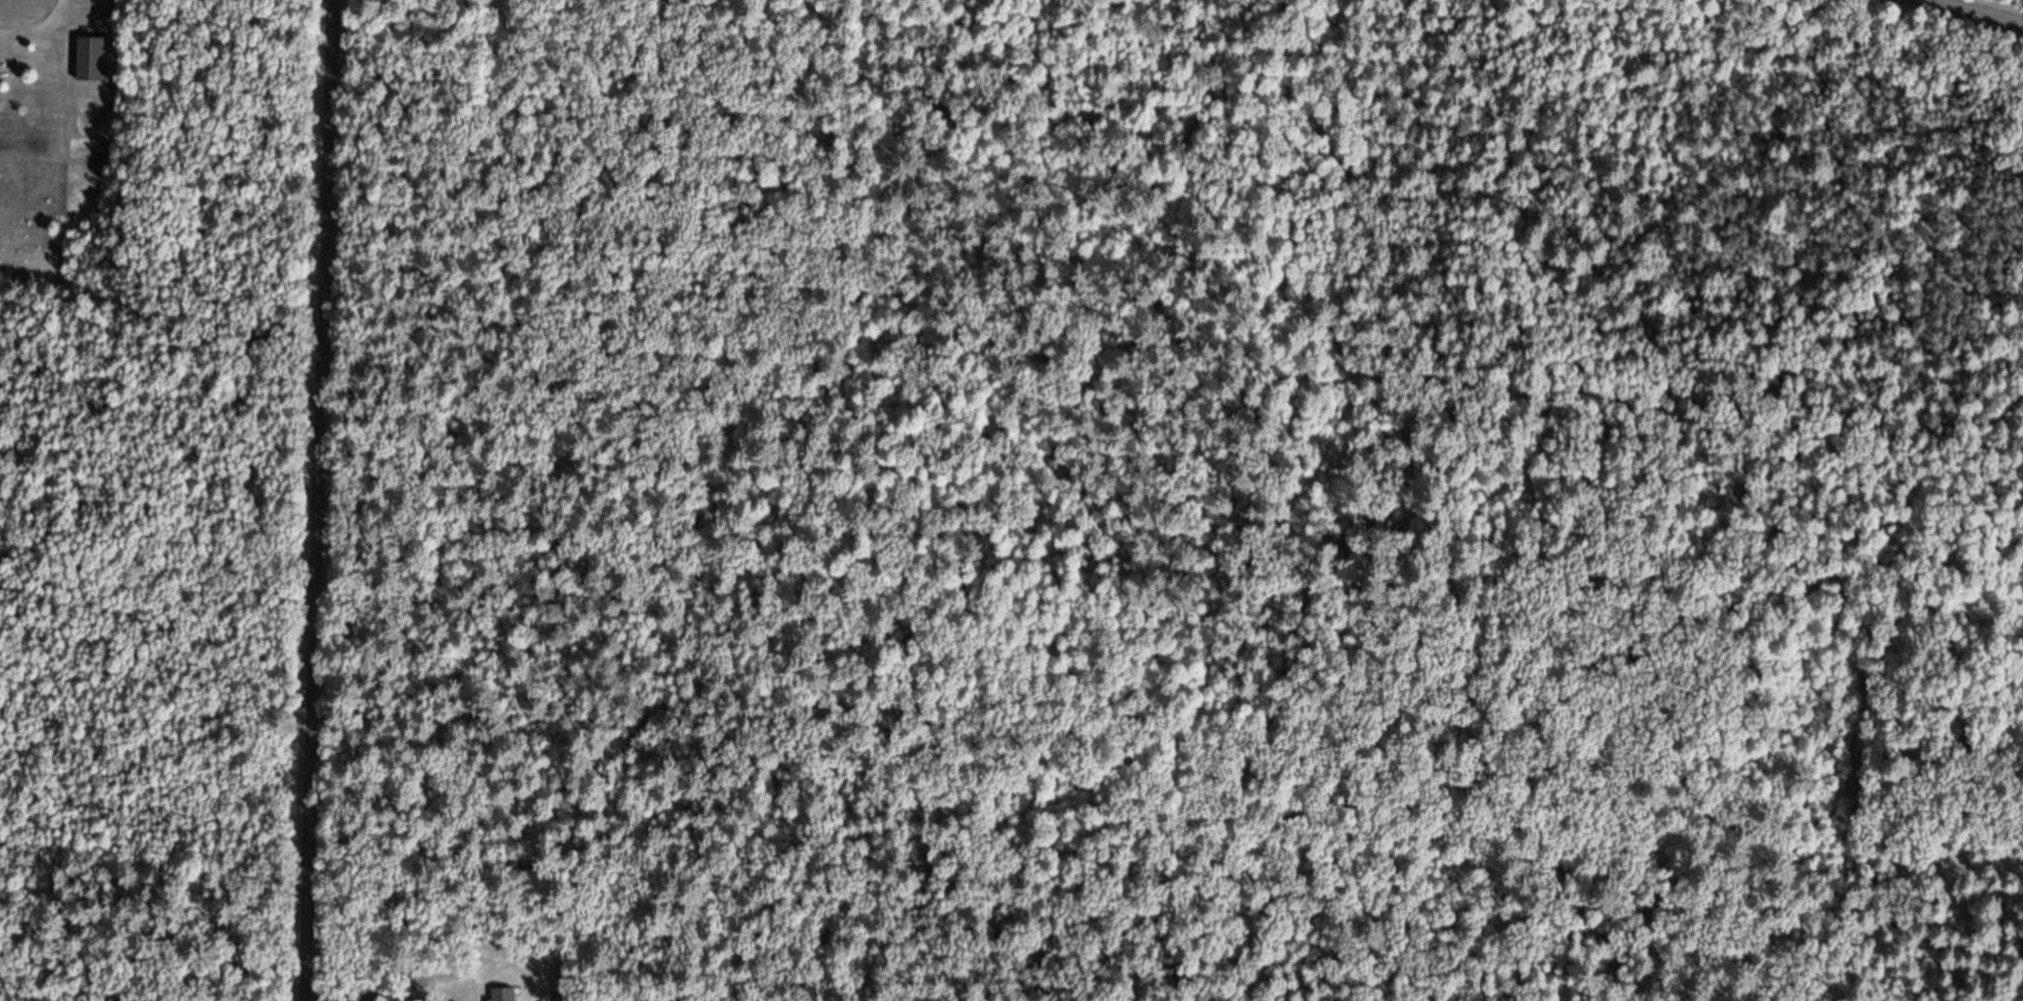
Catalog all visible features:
road: (1977, 10)
building: (95, 66)
road: (322, 500)

